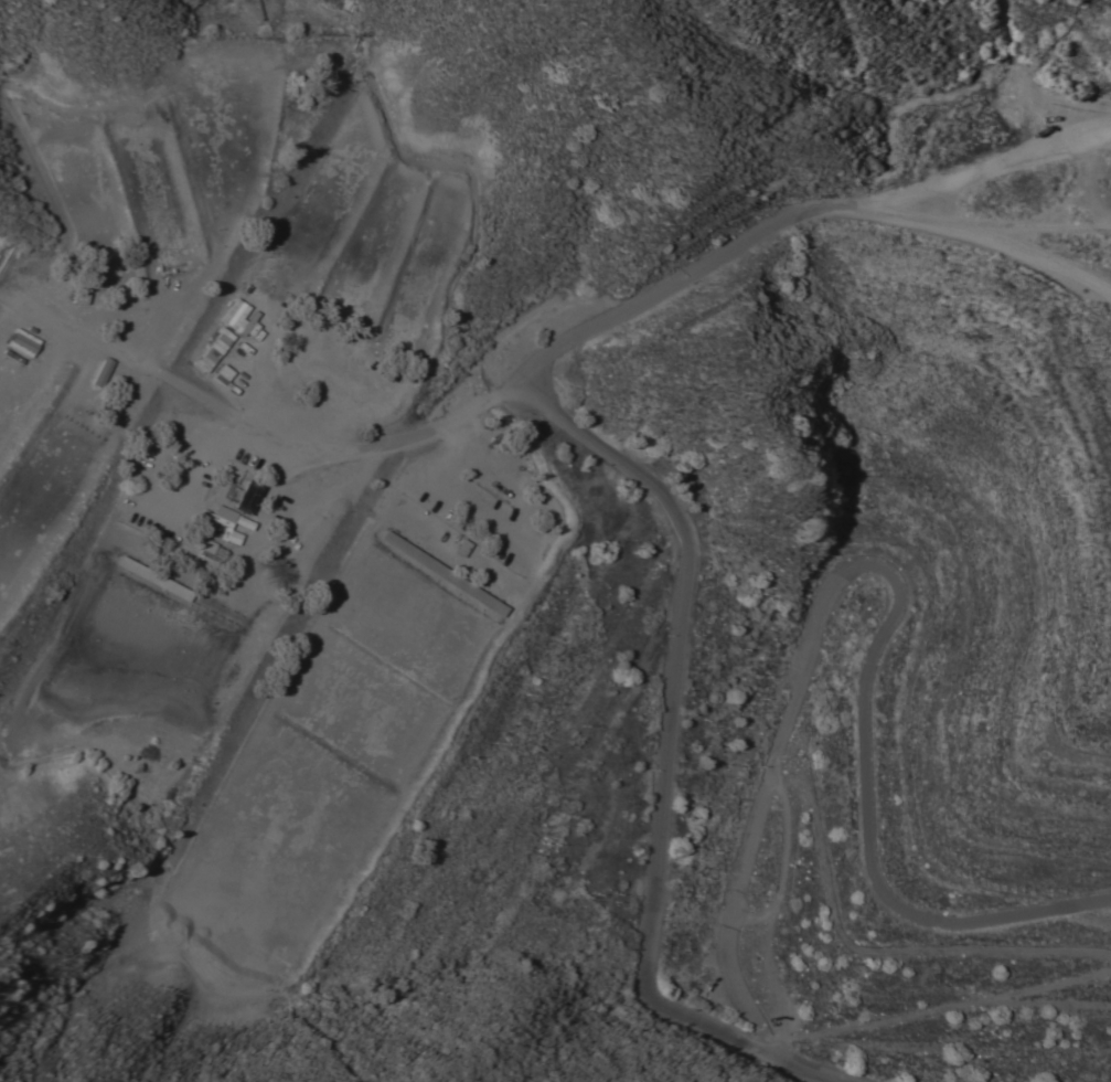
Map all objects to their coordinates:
road: (1016, 161)
road: (780, 218)
road: (1025, 235)
building: (79, 296)
building: (236, 315)
road: (63, 333)
building: (22, 341)
building: (213, 350)
building: (100, 370)
building: (223, 375)
road: (180, 390)
road: (373, 450)
building: (246, 496)
road: (464, 501)
building: (229, 535)
building: (461, 547)
road: (889, 567)
building: (442, 572)
building: (152, 575)
road: (665, 757)

